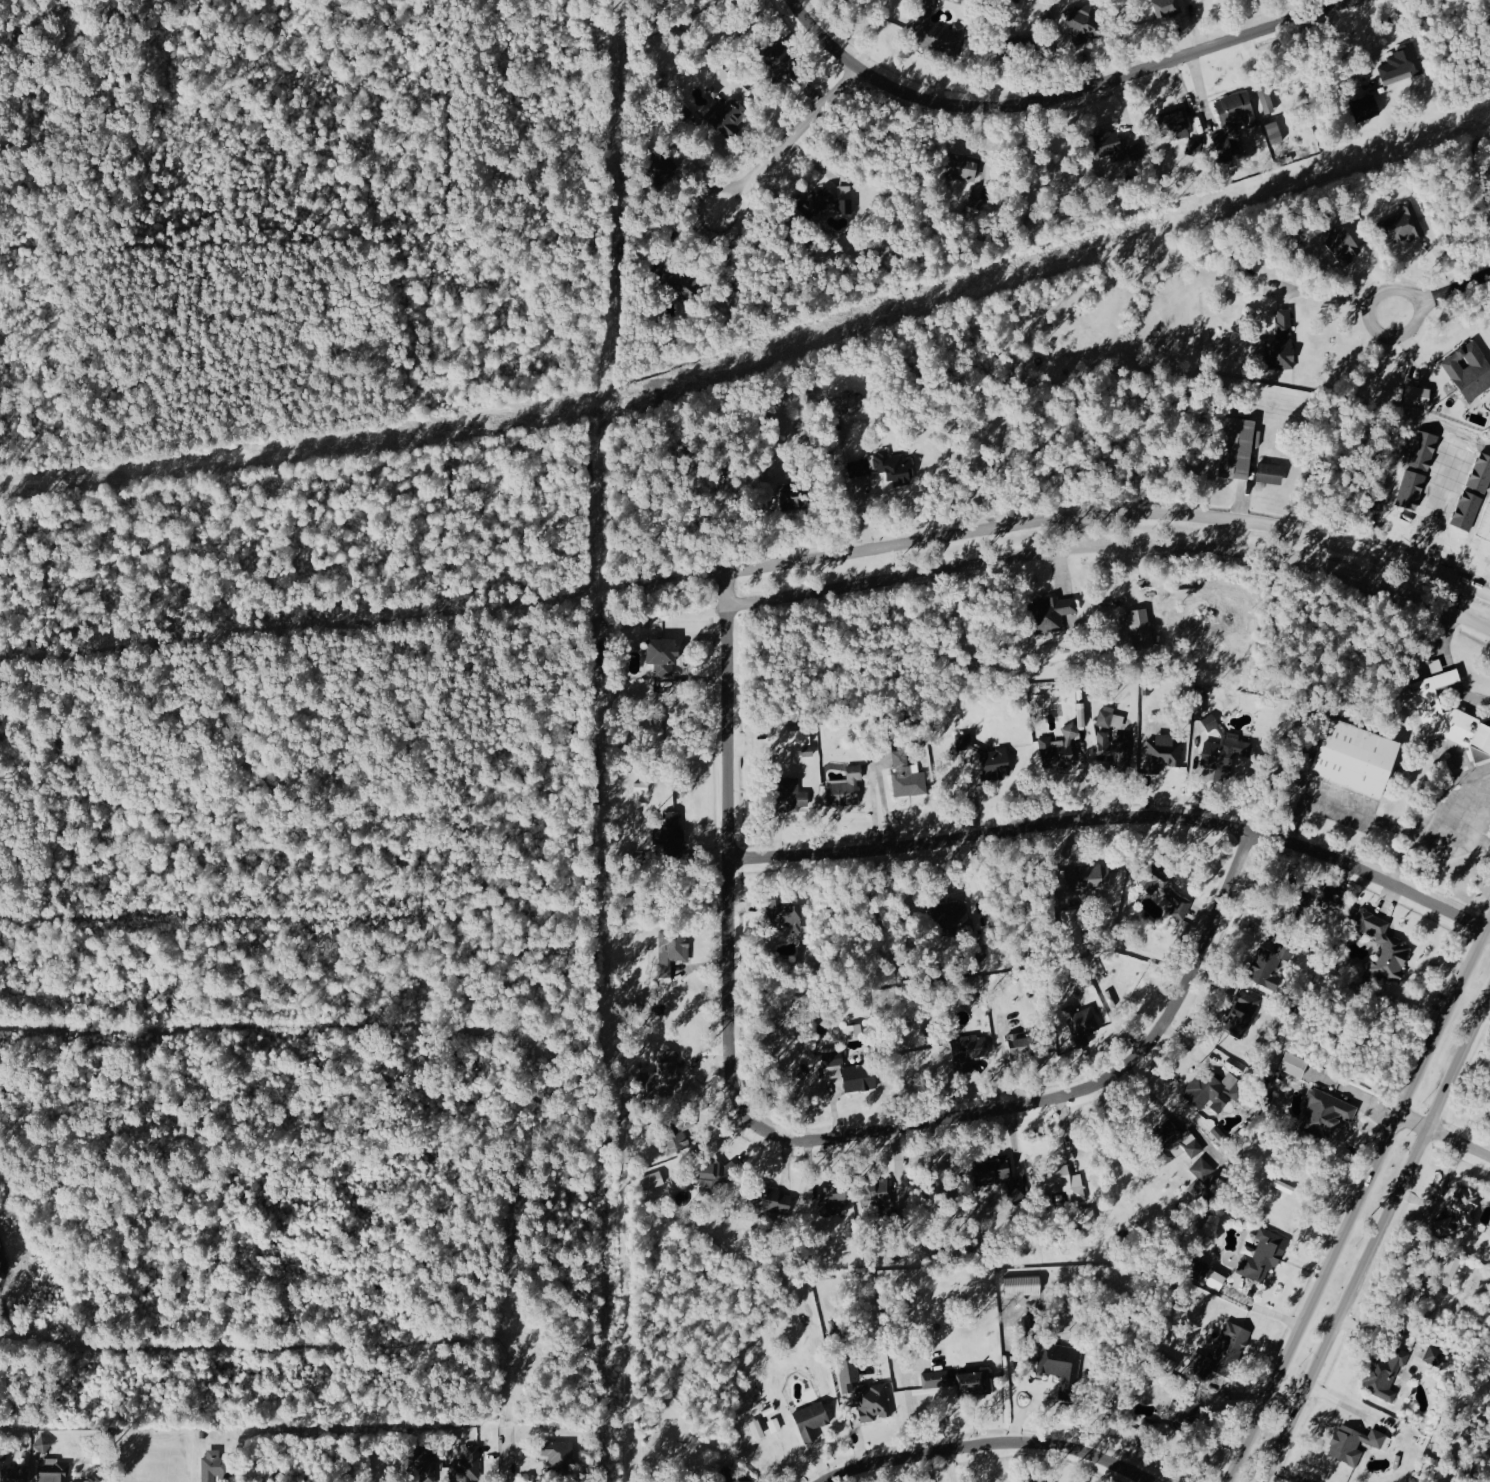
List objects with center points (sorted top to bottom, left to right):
building: (1166, 7)
building: (1488, 19)
building: (1084, 22)
building: (940, 37)
building: (1014, 45)
building: (780, 61)
building: (1401, 64)
road: (1066, 97)
building: (1364, 107)
building: (728, 116)
building: (1174, 121)
building: (1230, 125)
road: (791, 137)
building: (1109, 143)
building: (964, 166)
building: (659, 167)
building: (1488, 187)
building: (845, 199)
building: (816, 202)
building: (1401, 225)
building: (1343, 246)
building: (687, 284)
road: (1458, 288)
road: (1325, 294)
road: (1395, 337)
building: (1281, 342)
building: (1470, 370)
building: (1417, 397)
building: (848, 404)
building: (1236, 447)
building: (1425, 451)
building: (892, 465)
building: (859, 467)
building: (1270, 471)
building: (1483, 474)
building: (1412, 490)
building: (798, 497)
building: (1471, 511)
road: (1112, 516)
road: (1112, 545)
road: (663, 584)
road: (1462, 599)
building: (1052, 612)
building: (1139, 626)
road: (299, 632)
building: (662, 654)
road: (1449, 666)
building: (1449, 714)
building: (1105, 716)
building: (1210, 721)
building: (1072, 730)
building: (795, 736)
building: (964, 741)
building: (1113, 750)
building: (1163, 752)
building: (1223, 753)
building: (1056, 754)
building: (1355, 757)
building: (995, 763)
building: (907, 775)
building: (844, 787)
building: (788, 795)
road: (1338, 804)
road: (1428, 812)
road: (1120, 815)
building: (670, 834)
building: (1088, 877)
building: (1162, 888)
building: (1294, 897)
building: (1332, 900)
building: (784, 915)
building: (952, 920)
building: (1073, 927)
building: (974, 948)
building: (672, 949)
building: (1387, 952)
building: (1270, 965)
road: (1425, 971)
building: (1240, 1013)
building: (1081, 1024)
building: (1017, 1042)
building: (968, 1051)
building: (832, 1058)
building: (1293, 1064)
building: (667, 1068)
building: (859, 1077)
building: (1212, 1088)
road: (1370, 1103)
building: (1325, 1111)
building: (677, 1133)
road: (1444, 1136)
road: (802, 1139)
building: (1165, 1140)
building: (993, 1169)
building: (1203, 1174)
building: (1059, 1183)
building: (873, 1186)
road: (1445, 1192)
building: (768, 1199)
building: (833, 1203)
road: (1360, 1203)
building: (1461, 1208)
building: (1087, 1215)
road: (1377, 1239)
building: (1264, 1255)
building: (1196, 1269)
building: (1449, 1269)
building: (1021, 1284)
building: (1031, 1325)
building: (1221, 1352)
building: (1435, 1356)
building: (1061, 1365)
building: (847, 1374)
building: (1385, 1374)
building: (958, 1380)
road: (909, 1395)
building: (873, 1401)
building: (1185, 1413)
building: (811, 1420)
building: (774, 1425)
building: (1148, 1425)
building: (755, 1429)
building: (1376, 1439)
road: (991, 1441)
building: (1346, 1444)
building: (5, 1454)
building: (559, 1455)
road: (507, 1456)
building: (423, 1461)
building: (213, 1465)
building: (466, 1465)
building: (55, 1474)
building: (17, 1475)
building: (733, 1476)

